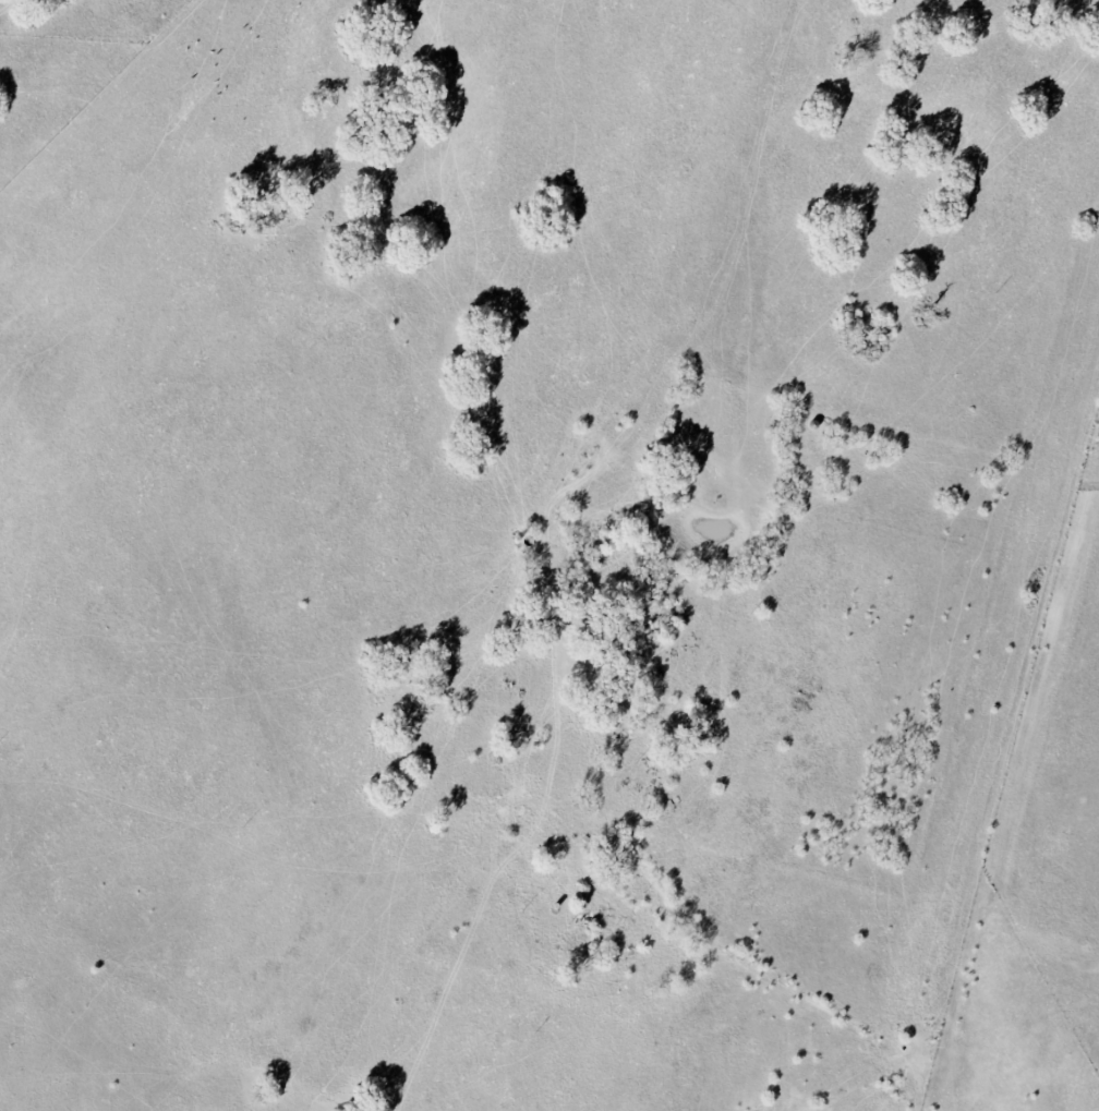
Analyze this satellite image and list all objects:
road: (778, 985)

